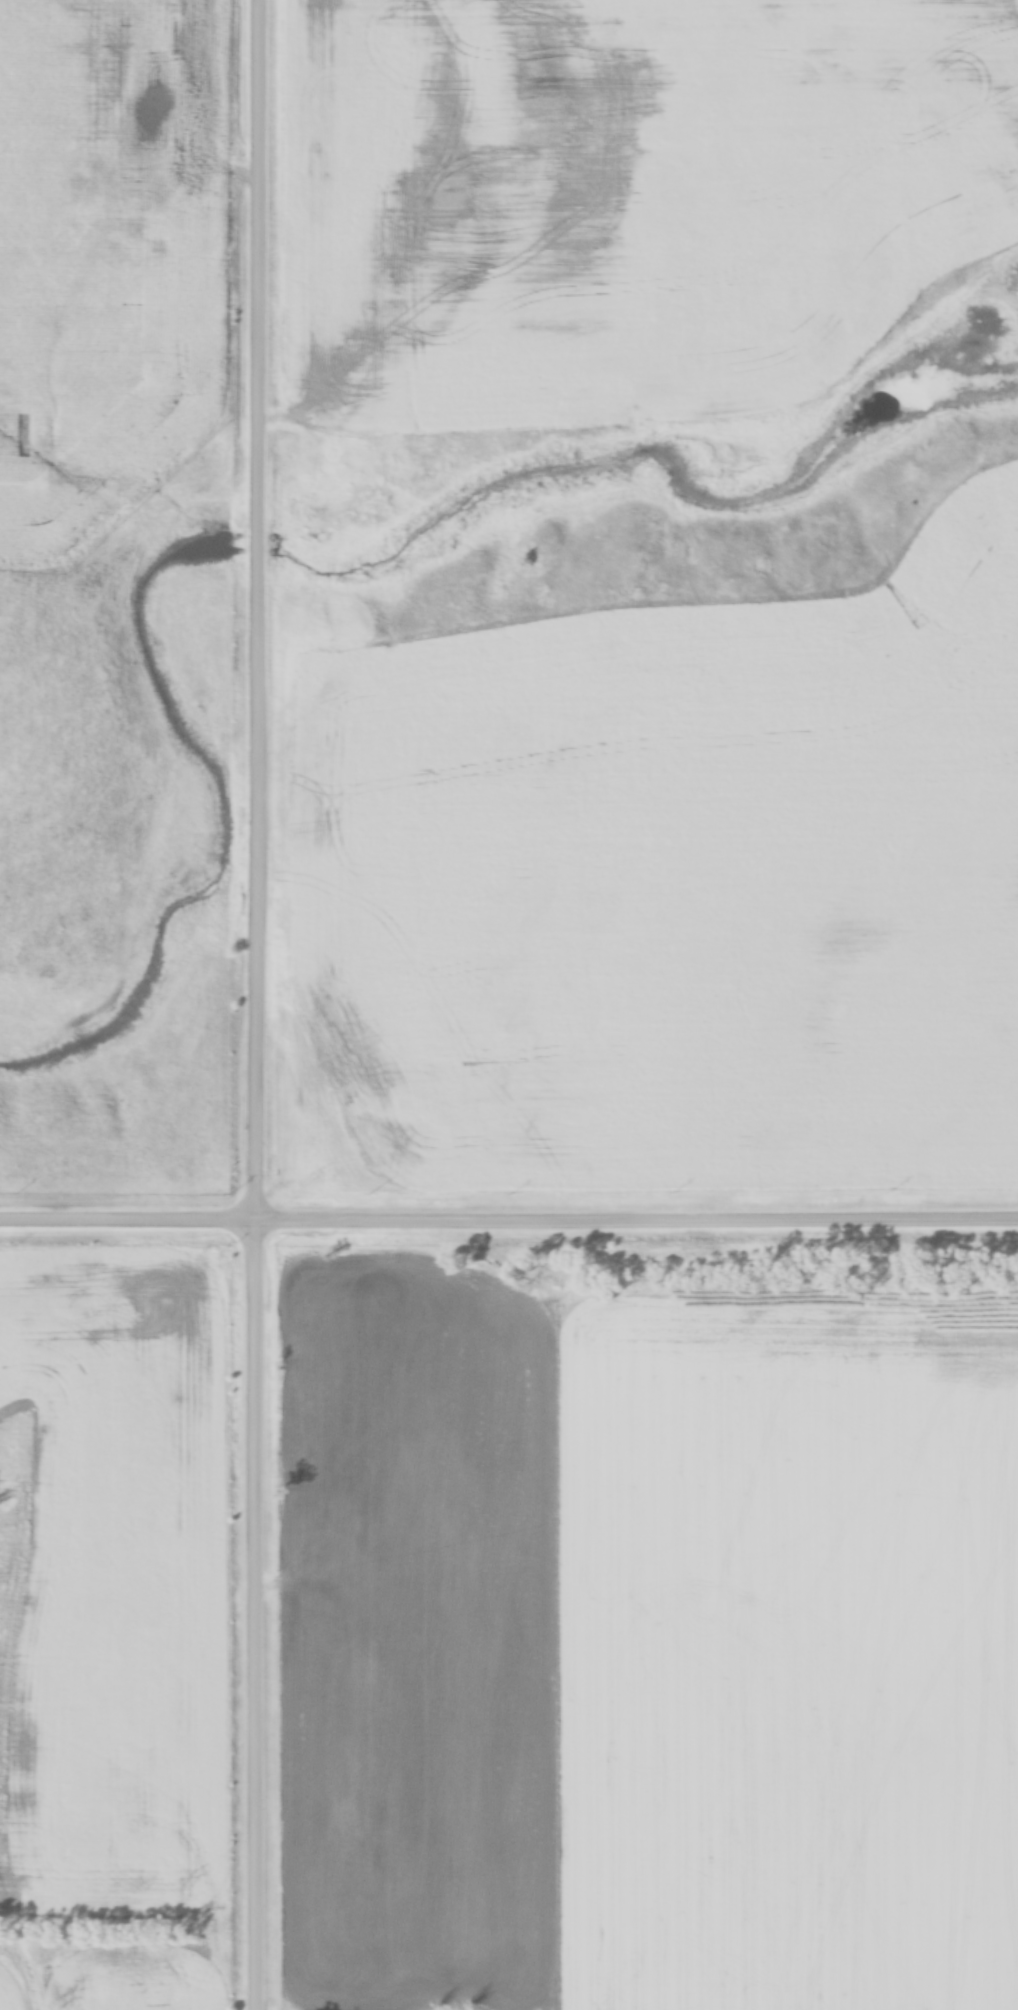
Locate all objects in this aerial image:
road: (262, 1005)
road: (509, 1219)

